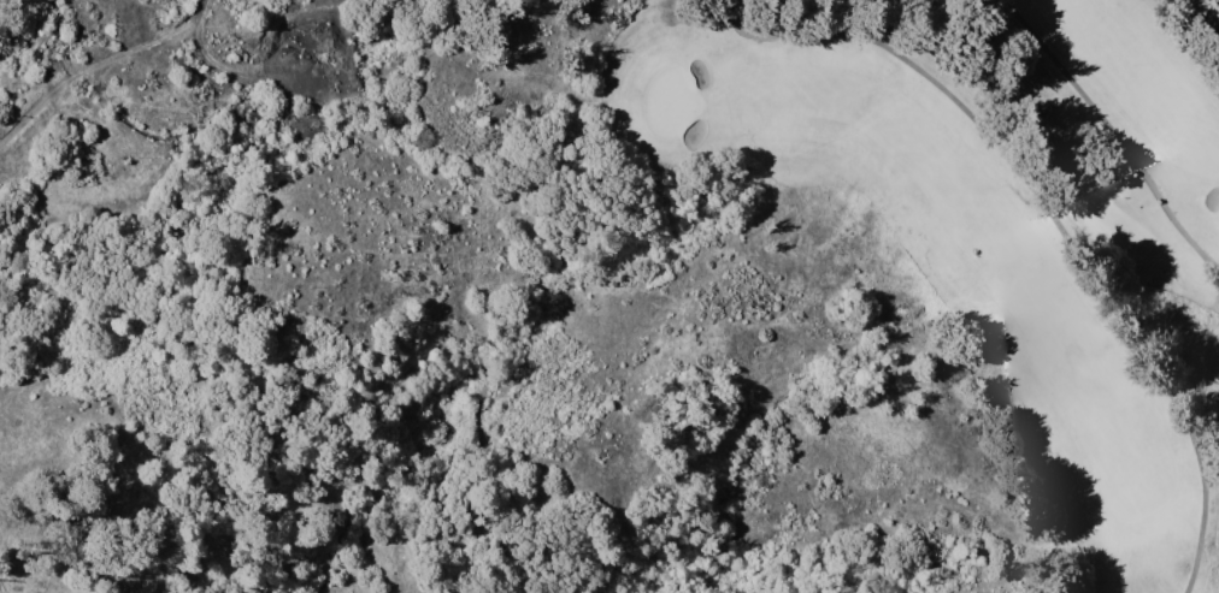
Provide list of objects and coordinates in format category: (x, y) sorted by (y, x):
road: (1218, 1)
road: (724, 7)
road: (195, 8)
road: (702, 16)
road: (884, 17)
road: (141, 38)
park: (664, 107)
road: (1113, 135)
park: (974, 220)
road: (1048, 224)

